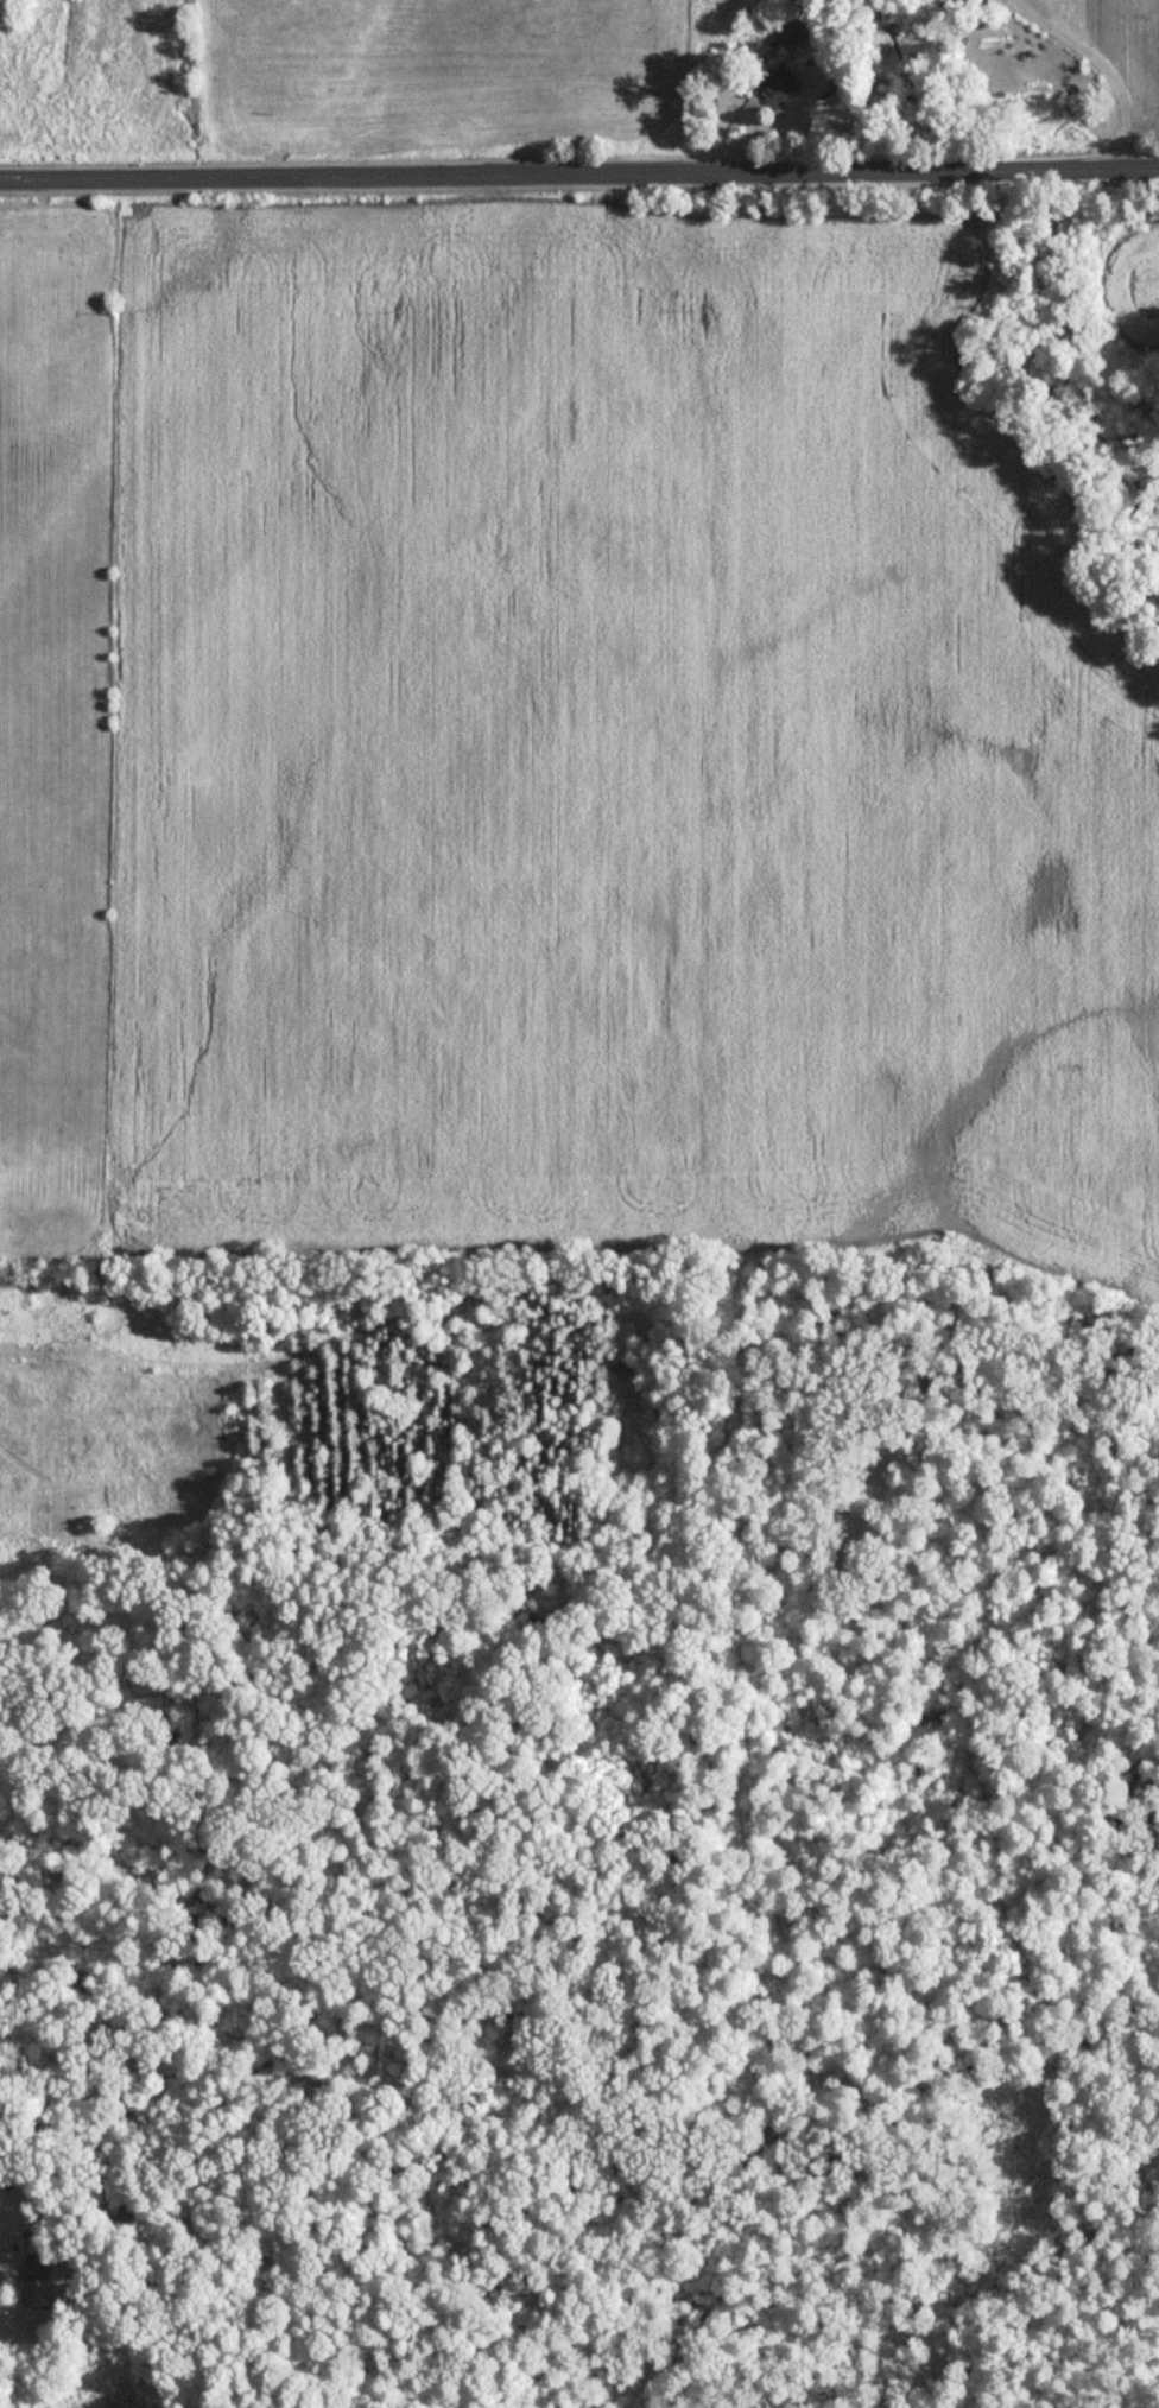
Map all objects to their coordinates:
building: (792, 28)
road: (1102, 64)
building: (778, 90)
road: (578, 172)
building: (40, 2285)

